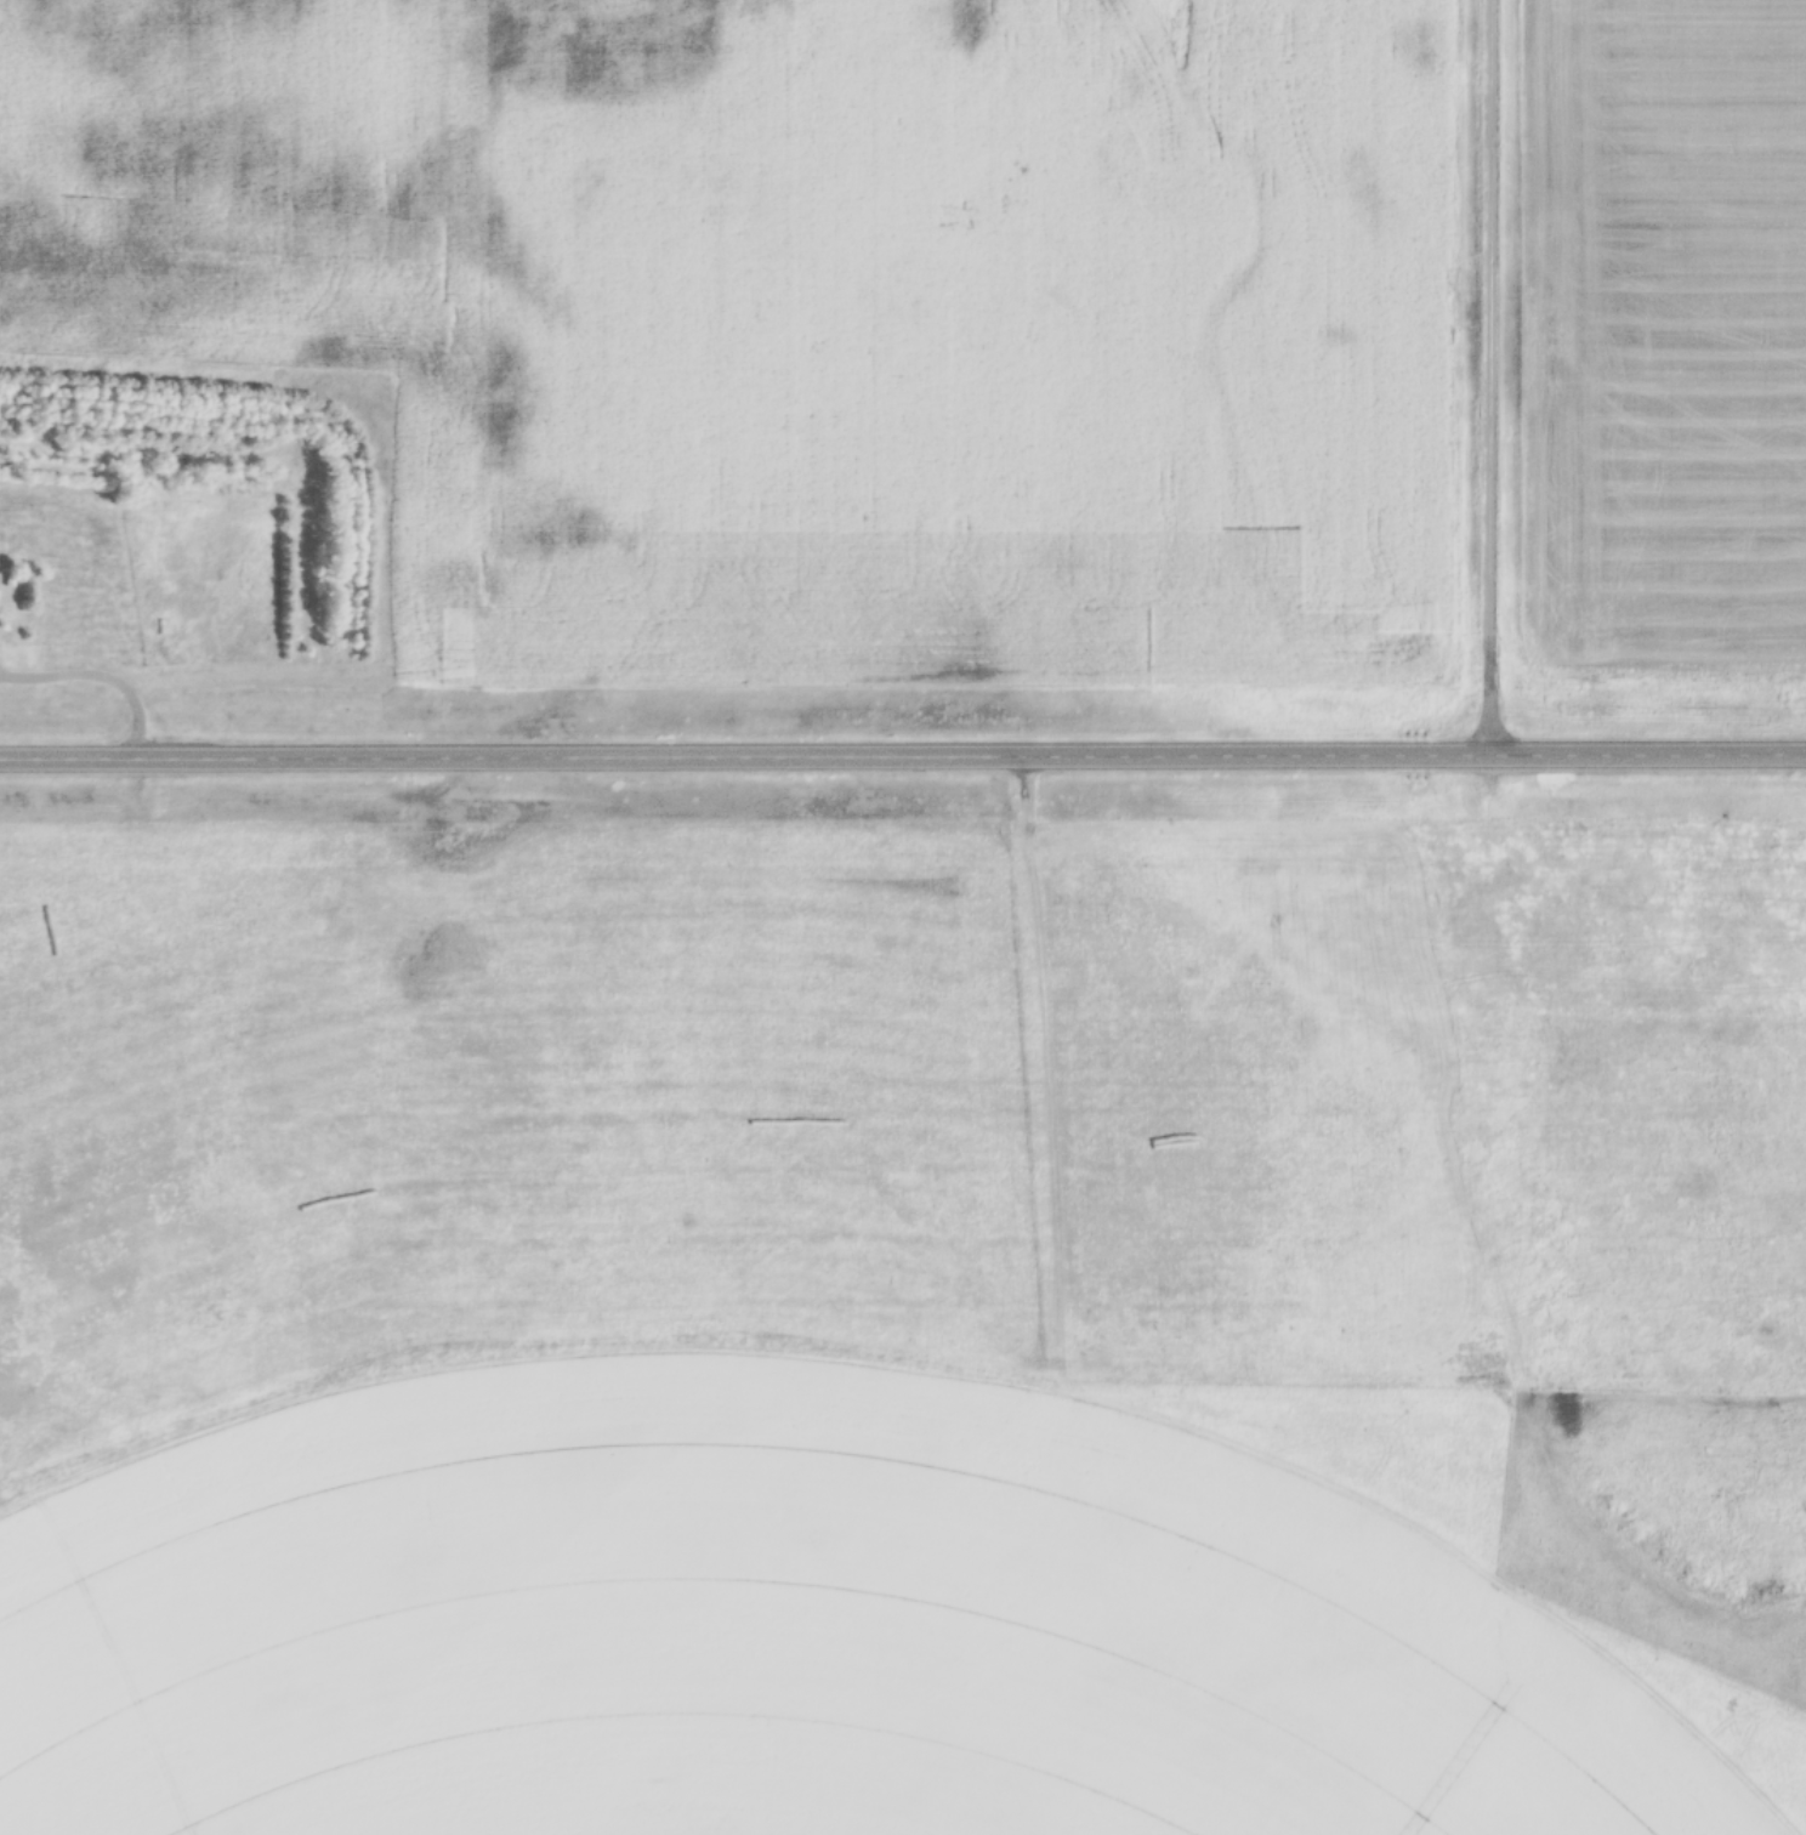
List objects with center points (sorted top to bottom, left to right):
road: (1487, 377)
road: (100, 672)
road: (903, 757)

